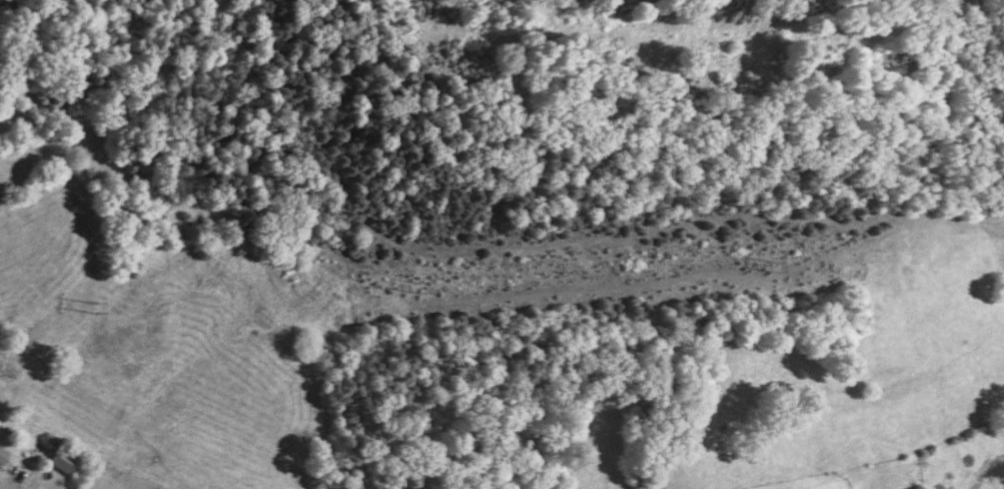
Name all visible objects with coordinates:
power tower: (795, 272)
power tower: (83, 305)
building: (3, 456)
building: (65, 460)

